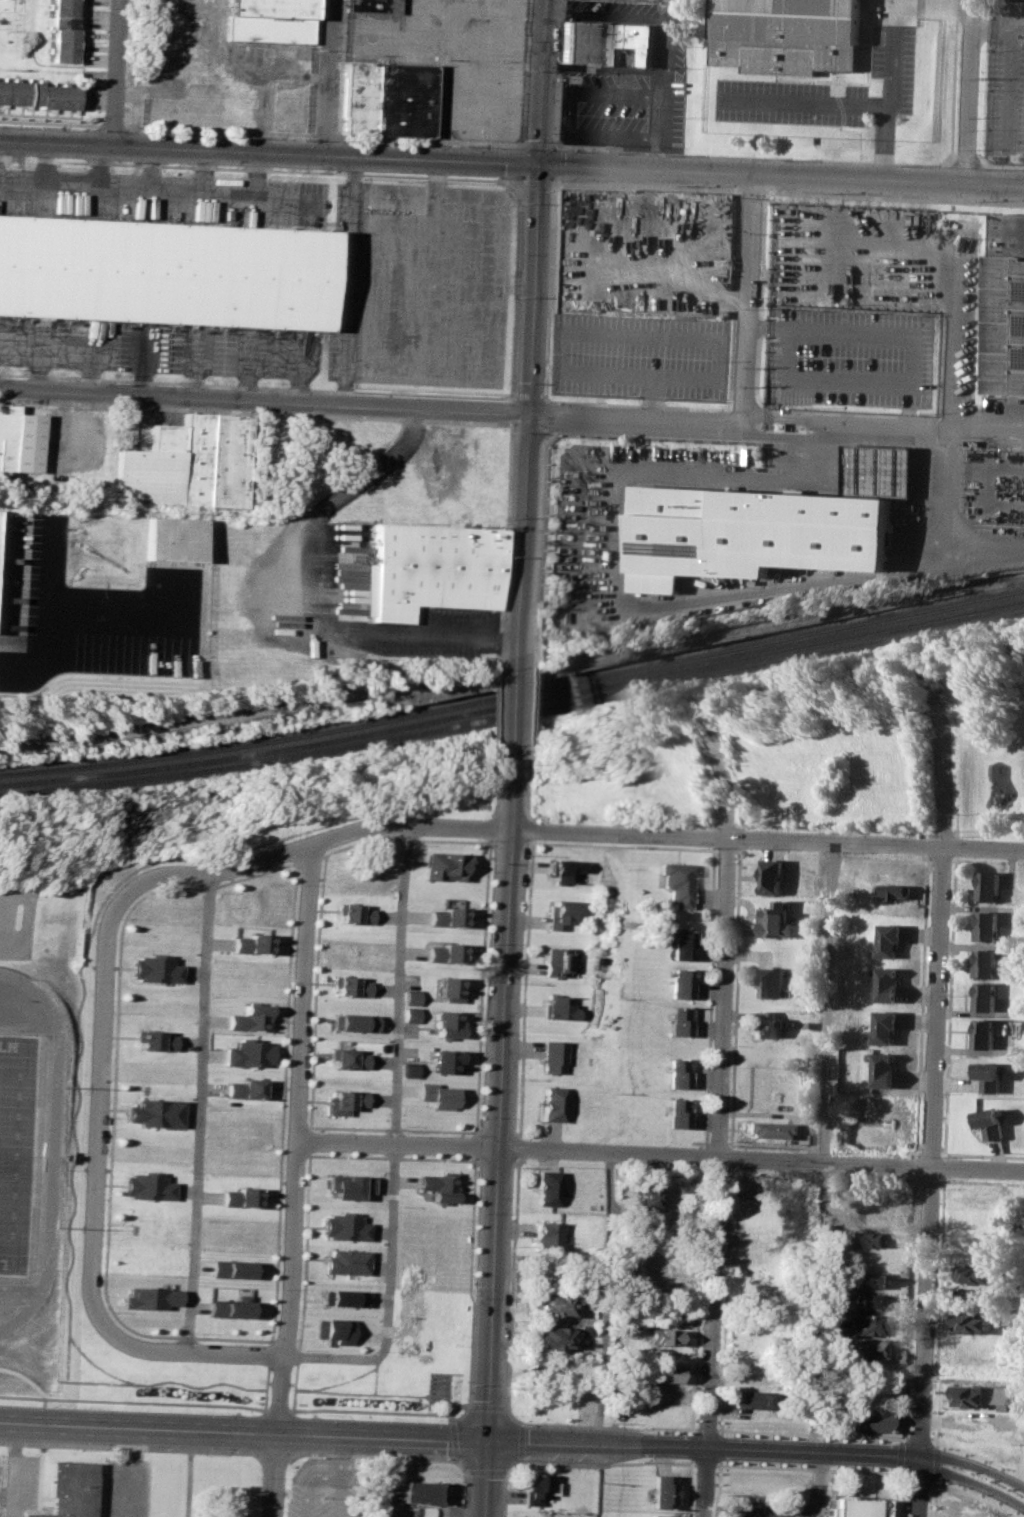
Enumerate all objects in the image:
road: (935, 1)
building: (374, 5)
road: (642, 17)
building: (270, 20)
building: (63, 30)
building: (789, 36)
building: (607, 44)
parking lot: (893, 45)
road: (446, 47)
road: (1010, 56)
road: (558, 71)
road: (525, 72)
road: (115, 74)
parking lot: (628, 78)
road: (326, 79)
road: (542, 83)
road: (969, 92)
building: (39, 95)
building: (389, 101)
road: (857, 103)
road: (570, 110)
road: (50, 121)
street lamp: (16, 124)
road: (112, 124)
street lamp: (92, 127)
road: (219, 129)
street lamp: (145, 130)
road: (660, 133)
street lamp: (223, 134)
road: (324, 134)
street lamp: (301, 137)
road: (430, 139)
street lamp: (374, 141)
road: (886, 143)
street lamp: (455, 144)
road: (540, 144)
street lamp: (520, 147)
road: (965, 154)
road: (269, 155)
road: (757, 156)
road: (521, 163)
road: (997, 165)
road: (258, 169)
road: (782, 177)
street lamp: (560, 179)
street lamp: (702, 185)
street lamp: (846, 192)
parking lot: (165, 197)
street lamp: (763, 199)
street lamp: (988, 199)
building: (167, 272)
road: (350, 282)
parking lot: (419, 284)
road: (517, 290)
road: (749, 299)
building: (1006, 304)
road: (963, 325)
road: (875, 333)
parking lot: (160, 347)
parking lot: (639, 354)
parking lot: (850, 354)
road: (257, 385)
road: (372, 406)
road: (513, 410)
road: (256, 411)
road: (529, 416)
road: (853, 426)
road: (992, 430)
building: (21, 441)
building: (191, 465)
road: (944, 483)
road: (327, 505)
road: (617, 517)
building: (769, 525)
road: (539, 534)
building: (173, 538)
road: (987, 542)
road: (507, 546)
building: (433, 570)
road: (81, 609)
road: (421, 634)
railway: (513, 693)
road: (536, 701)
railway: (513, 704)
road: (517, 704)
road: (496, 710)
railway: (513, 713)
road: (731, 729)
park: (814, 751)
road: (959, 764)
road: (494, 783)
road: (729, 783)
road: (944, 783)
road: (533, 818)
road: (629, 818)
road: (714, 822)
road: (727, 822)
road: (739, 823)
road: (802, 825)
road: (489, 828)
road: (532, 830)
road: (714, 835)
road: (739, 836)
road: (408, 838)
road: (767, 840)
road: (486, 842)
road: (300, 844)
road: (716, 849)
road: (740, 849)
road: (728, 850)
road: (941, 858)
road: (929, 859)
road: (989, 860)
building: (444, 866)
building: (566, 869)
building: (772, 875)
building: (677, 881)
building: (987, 885)
building: (894, 890)
road: (713, 905)
building: (348, 912)
building: (560, 914)
building: (447, 917)
building: (777, 919)
road: (22, 921)
parking lot: (14, 923)
building: (985, 925)
building: (889, 938)
building: (246, 942)
building: (682, 944)
building: (446, 953)
road: (923, 960)
building: (559, 961)
building: (983, 962)
building: (153, 969)
building: (772, 981)
building: (681, 983)
building: (886, 983)
building: (345, 985)
building: (450, 989)
road: (526, 989)
building: (409, 996)
building: (983, 996)
road: (734, 998)
road: (949, 1003)
building: (561, 1007)
building: (409, 1014)
building: (242, 1017)
building: (679, 1020)
building: (350, 1022)
building: (447, 1023)
building: (767, 1024)
building: (884, 1027)
building: (982, 1033)
building: (150, 1039)
building: (240, 1053)
building: (554, 1056)
building: (343, 1058)
building: (445, 1061)
building: (407, 1069)
building: (883, 1069)
building: (678, 1073)
building: (987, 1076)
building: (239, 1088)
road: (503, 1091)
building: (437, 1095)
building: (338, 1101)
building: (552, 1102)
building: (151, 1111)
building: (677, 1112)
road: (193, 1113)
park: (7, 1115)
building: (989, 1122)
road: (390, 1128)
road: (98, 1129)
building: (763, 1129)
track: (22, 1130)
road: (390, 1138)
road: (288, 1140)
road: (302, 1140)
road: (395, 1144)
road: (476, 1145)
road: (520, 1146)
road: (823, 1147)
road: (705, 1151)
road: (916, 1152)
road: (930, 1152)
road: (981, 1154)
road: (944, 1155)
road: (388, 1156)
road: (729, 1157)
road: (763, 1158)
road: (914, 1165)
road: (943, 1167)
road: (716, 1177)
road: (928, 1181)
road: (982, 1181)
building: (438, 1185)
building: (143, 1186)
building: (343, 1186)
building: (547, 1188)
building: (236, 1195)
building: (643, 1197)
building: (885, 1215)
building: (337, 1226)
building: (548, 1235)
building: (876, 1238)
building: (338, 1261)
building: (227, 1269)
building: (974, 1274)
road: (297, 1280)
building: (873, 1280)
road: (512, 1281)
road: (470, 1282)
building: (833, 1295)
building: (338, 1297)
building: (148, 1298)
road: (724, 1299)
building: (871, 1300)
building: (555, 1303)
building: (226, 1308)
road: (938, 1312)
building: (972, 1322)
building: (869, 1324)
building: (329, 1330)
building: (584, 1330)
building: (662, 1335)
building: (550, 1337)
building: (864, 1347)
road: (197, 1352)
building: (665, 1373)
street lamp: (932, 1380)
street lamp: (471, 1384)
building: (981, 1396)
building: (750, 1399)
road: (902, 1400)
road: (133, 1401)
road: (456, 1406)
road: (488, 1406)
street lamp: (80, 1407)
road: (277, 1409)
street lamp: (201, 1410)
road: (372, 1410)
street lamp: (321, 1414)
road: (461, 1415)
road: (511, 1416)
street lamp: (428, 1418)
street lamp: (536, 1421)
building: (869, 1421)
street lamp: (641, 1426)
road: (607, 1427)
road: (705, 1432)
road: (243, 1434)
street lamp: (727, 1435)
street lamp: (803, 1438)
road: (454, 1440)
road: (903, 1440)
road: (919, 1440)
road: (520, 1442)
street lamp: (892, 1442)
road: (561, 1443)
road: (131, 1447)
street lamp: (79, 1449)
road: (777, 1451)
street lamp: (199, 1454)
road: (370, 1455)
road: (274, 1456)
street lamp: (320, 1456)
road: (343, 1456)
road: (901, 1456)
road: (978, 1456)
street lamp: (426, 1461)
street lamp: (639, 1461)
road: (933, 1462)
road: (603, 1464)
road: (460, 1465)
street lamp: (535, 1465)
road: (974, 1465)
road: (699, 1466)
road: (17, 1467)
road: (512, 1467)
road: (712, 1467)
street lamp: (959, 1468)
road: (782, 1469)
road: (486, 1471)
road: (1019, 1471)
road: (131, 1472)
road: (274, 1476)
road: (326, 1476)
road: (487, 1479)
road: (971, 1484)
road: (262, 1486)
road: (818, 1486)
road: (903, 1486)
road: (916, 1486)
parking lot: (323, 1487)
building: (536, 1488)
street lamp: (931, 1489)
building: (421, 1491)
building: (662, 1491)
building: (68, 1492)
road: (900, 1493)
road: (466, 1494)
road: (972, 1495)
road: (931, 1498)
building: (857, 1507)
parking lot: (768, 1508)
building: (427, 1511)
building: (659, 1515)
building: (521, 1516)

